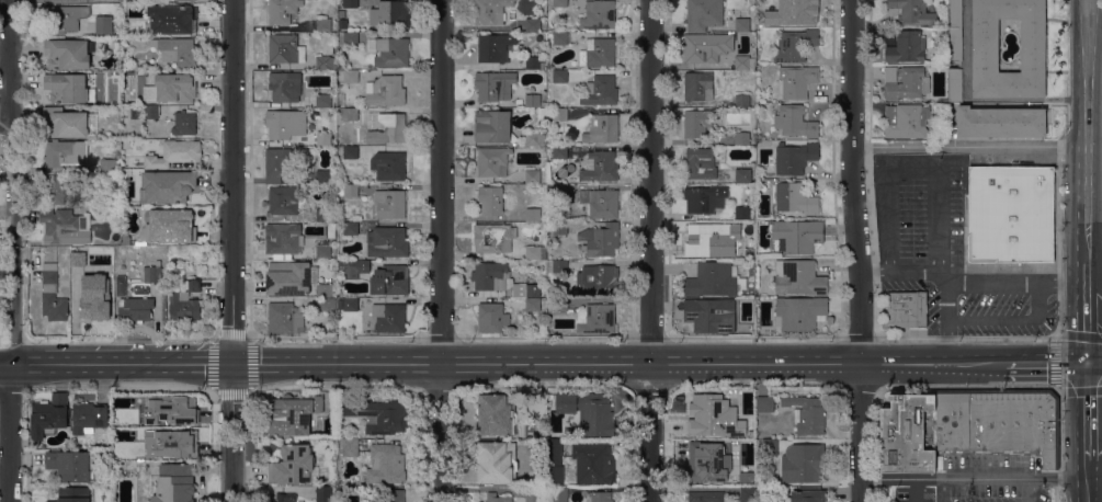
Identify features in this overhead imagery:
building: (59, 0)
building: (189, 0)
building: (70, 1)
building: (351, 3)
building: (560, 3)
building: (283, 10)
building: (491, 11)
building: (913, 12)
building: (391, 13)
building: (793, 13)
building: (599, 14)
building: (719, 15)
building: (66, 18)
building: (172, 19)
building: (343, 23)
building: (104, 24)
building: (323, 24)
building: (533, 24)
building: (955, 30)
building: (943, 31)
building: (539, 37)
building: (560, 37)
building: (351, 38)
building: (794, 45)
building: (986, 45)
building: (495, 46)
building: (907, 47)
building: (286, 48)
building: (702, 48)
road: (967, 49)
building: (178, 50)
building: (393, 52)
building: (601, 52)
building: (720, 52)
building: (68, 54)
building: (326, 62)
building: (534, 62)
building: (746, 62)
building: (138, 68)
building: (348, 76)
building: (560, 76)
building: (796, 81)
building: (906, 82)
building: (955, 84)
building: (285, 85)
building: (177, 87)
building: (701, 87)
building: (67, 88)
building: (491, 88)
building: (386, 90)
building: (601, 91)
building: (114, 96)
building: (323, 101)
building: (533, 101)
building: (742, 101)
building: (151, 112)
building: (351, 114)
building: (541, 114)
building: (560, 114)
building: (906, 119)
building: (795, 121)
building: (1001, 122)
building: (65, 123)
building: (185, 123)
building: (286, 123)
building: (697, 123)
building: (492, 126)
road: (5, 127)
building: (388, 128)
building: (602, 128)
road: (1084, 132)
building: (323, 138)
building: (535, 138)
building: (743, 138)
building: (127, 144)
road: (968, 146)
building: (560, 151)
building: (66, 152)
building: (351, 152)
building: (174, 153)
building: (795, 158)
building: (493, 161)
building: (701, 163)
building: (280, 164)
road: (912, 164)
building: (111, 166)
building: (389, 166)
building: (600, 167)
building: (533, 175)
building: (743, 175)
building: (323, 176)
building: (170, 185)
building: (56, 189)
building: (349, 190)
building: (558, 190)
building: (705, 198)
building: (795, 198)
building: (284, 199)
building: (491, 199)
building: (390, 204)
building: (604, 204)
building: (557, 208)
building: (117, 213)
building: (745, 213)
building: (533, 214)
building: (1012, 214)
building: (327, 215)
building: (59, 225)
building: (170, 227)
building: (351, 228)
building: (560, 228)
building: (332, 230)
building: (797, 236)
building: (125, 239)
building: (493, 239)
building: (707, 239)
building: (283, 240)
building: (601, 240)
building: (387, 242)
road: (15, 250)
road: (650, 250)
road: (856, 250)
road: (231, 251)
road: (441, 251)
building: (323, 252)
building: (534, 252)
building: (82, 255)
road: (1094, 264)
building: (560, 266)
building: (355, 267)
building: (178, 269)
road: (897, 272)
building: (154, 273)
building: (490, 275)
building: (288, 277)
building: (799, 277)
building: (390, 279)
building: (598, 279)
building: (716, 279)
road: (1010, 282)
building: (122, 285)
building: (525, 289)
building: (323, 290)
building: (53, 294)
building: (186, 301)
building: (351, 301)
building: (93, 303)
building: (327, 304)
building: (533, 304)
building: (560, 304)
building: (137, 309)
building: (908, 309)
building: (800, 312)
building: (711, 313)
road: (1087, 313)
building: (390, 317)
road: (945, 317)
building: (284, 318)
building: (492, 318)
building: (597, 318)
road: (1008, 319)
road: (1056, 361)
road: (78, 363)
road: (194, 363)
traffic signals: (232, 363)
road: (667, 363)
traffic signals: (1087, 364)
building: (765, 403)
building: (160, 410)
building: (588, 410)
building: (294, 413)
building: (807, 413)
building: (379, 414)
building: (498, 414)
building: (49, 415)
building: (90, 417)
building: (993, 421)
road: (1087, 432)
building: (702, 435)
building: (905, 437)
building: (350, 446)
building: (178, 447)
building: (770, 447)
building: (555, 459)
building: (498, 461)
building: (386, 463)
building: (594, 463)
building: (803, 463)
building: (72, 465)
building: (293, 465)
road: (1094, 471)
road: (974, 479)
building: (175, 483)
road: (1033, 490)
road: (943, 491)
building: (73, 494)
building: (325, 494)
building: (534, 494)
building: (559, 494)
building: (748, 494)
building: (770, 494)
building: (809, 494)
building: (395, 495)
road: (1094, 495)
building: (601, 497)
building: (706, 497)
building: (286, 498)
building: (497, 498)

